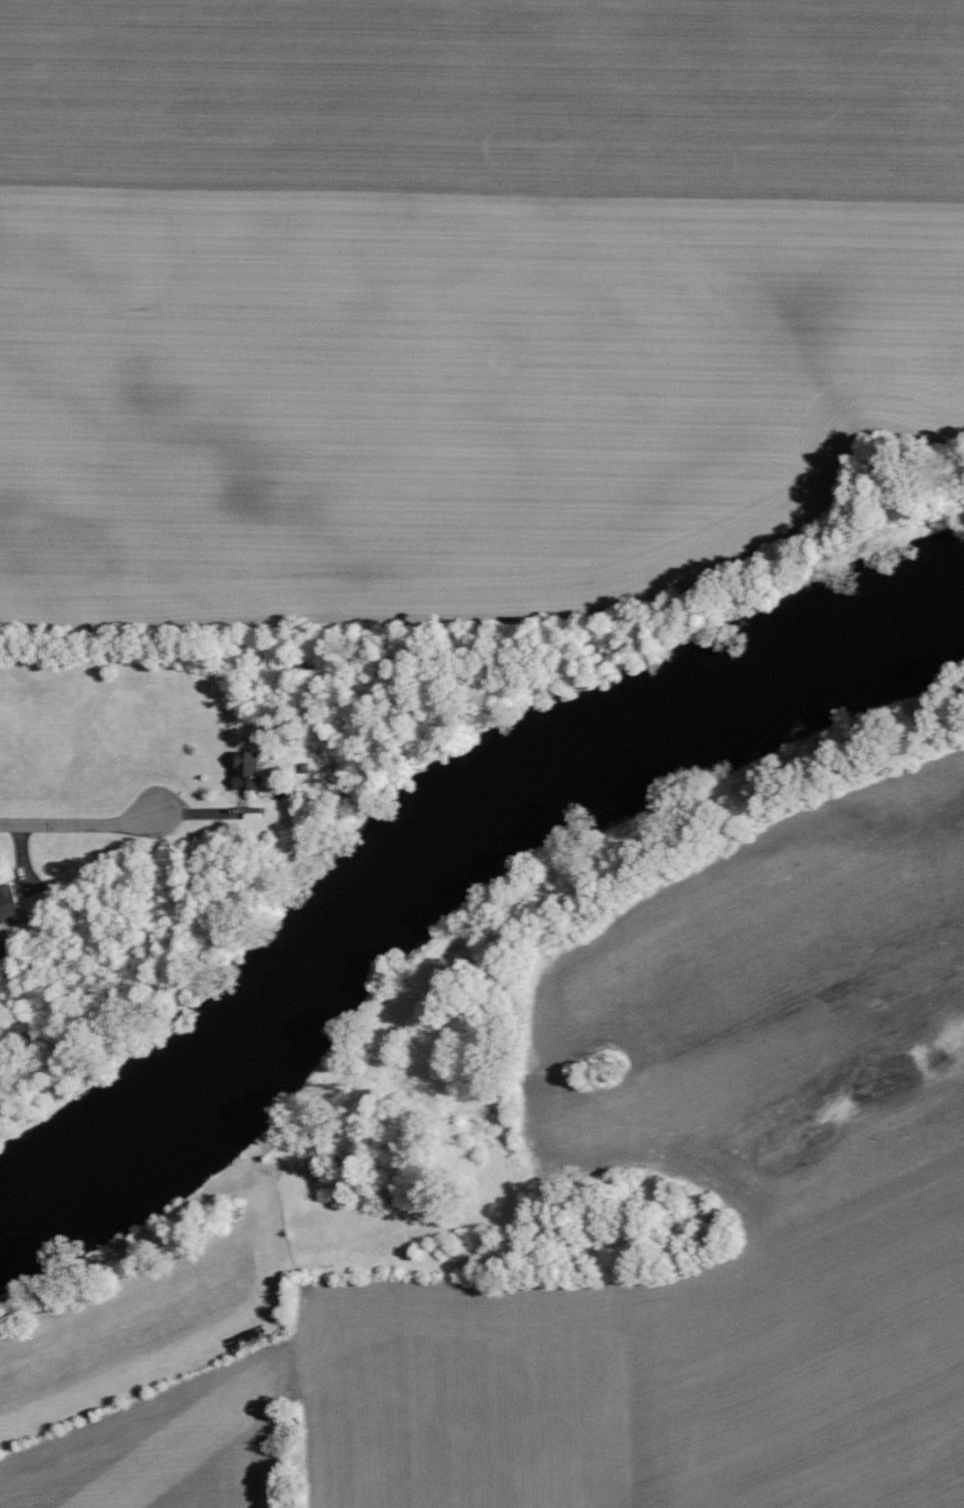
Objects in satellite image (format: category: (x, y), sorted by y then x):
building: (253, 771)
road: (80, 823)
river: (454, 880)
building: (10, 904)
road: (648, 1396)

